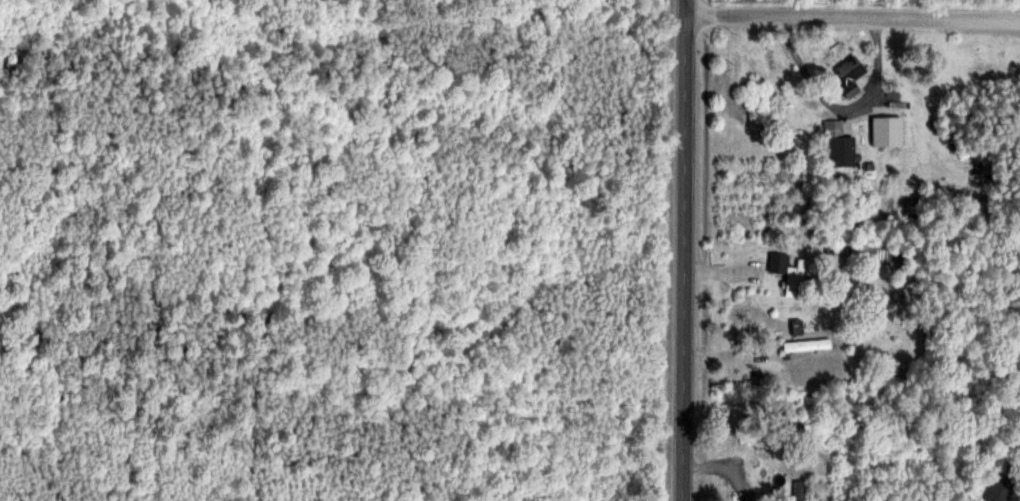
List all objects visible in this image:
road: (853, 16)
building: (849, 74)
building: (839, 143)
road: (684, 250)
building: (778, 262)
building: (806, 344)
building: (999, 487)
building: (799, 490)

